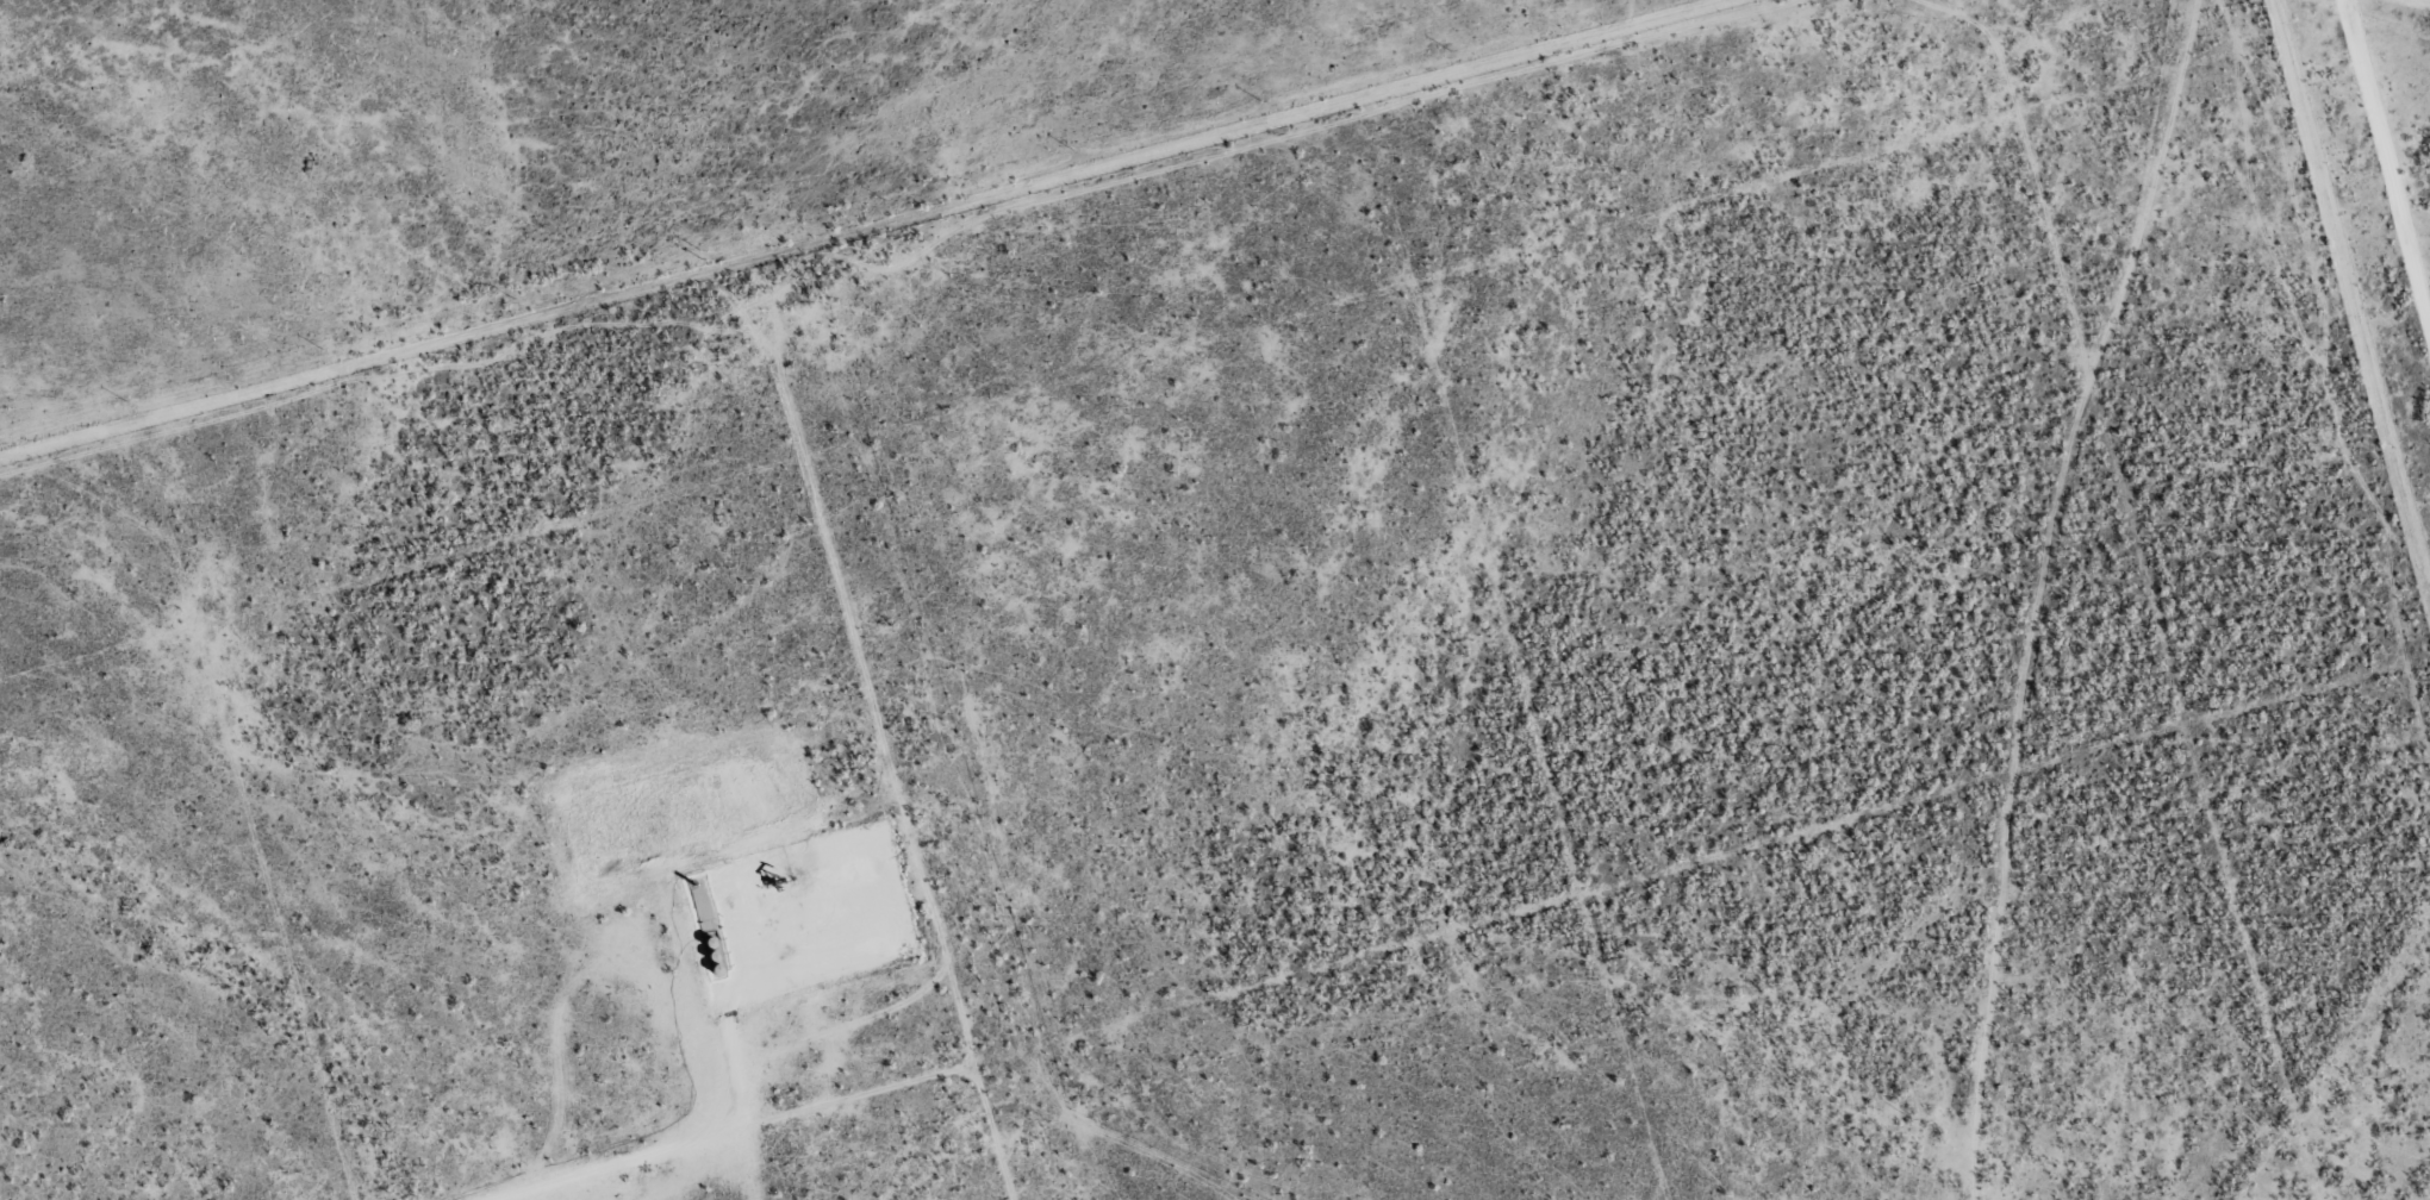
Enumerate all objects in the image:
road: (2023, 600)

